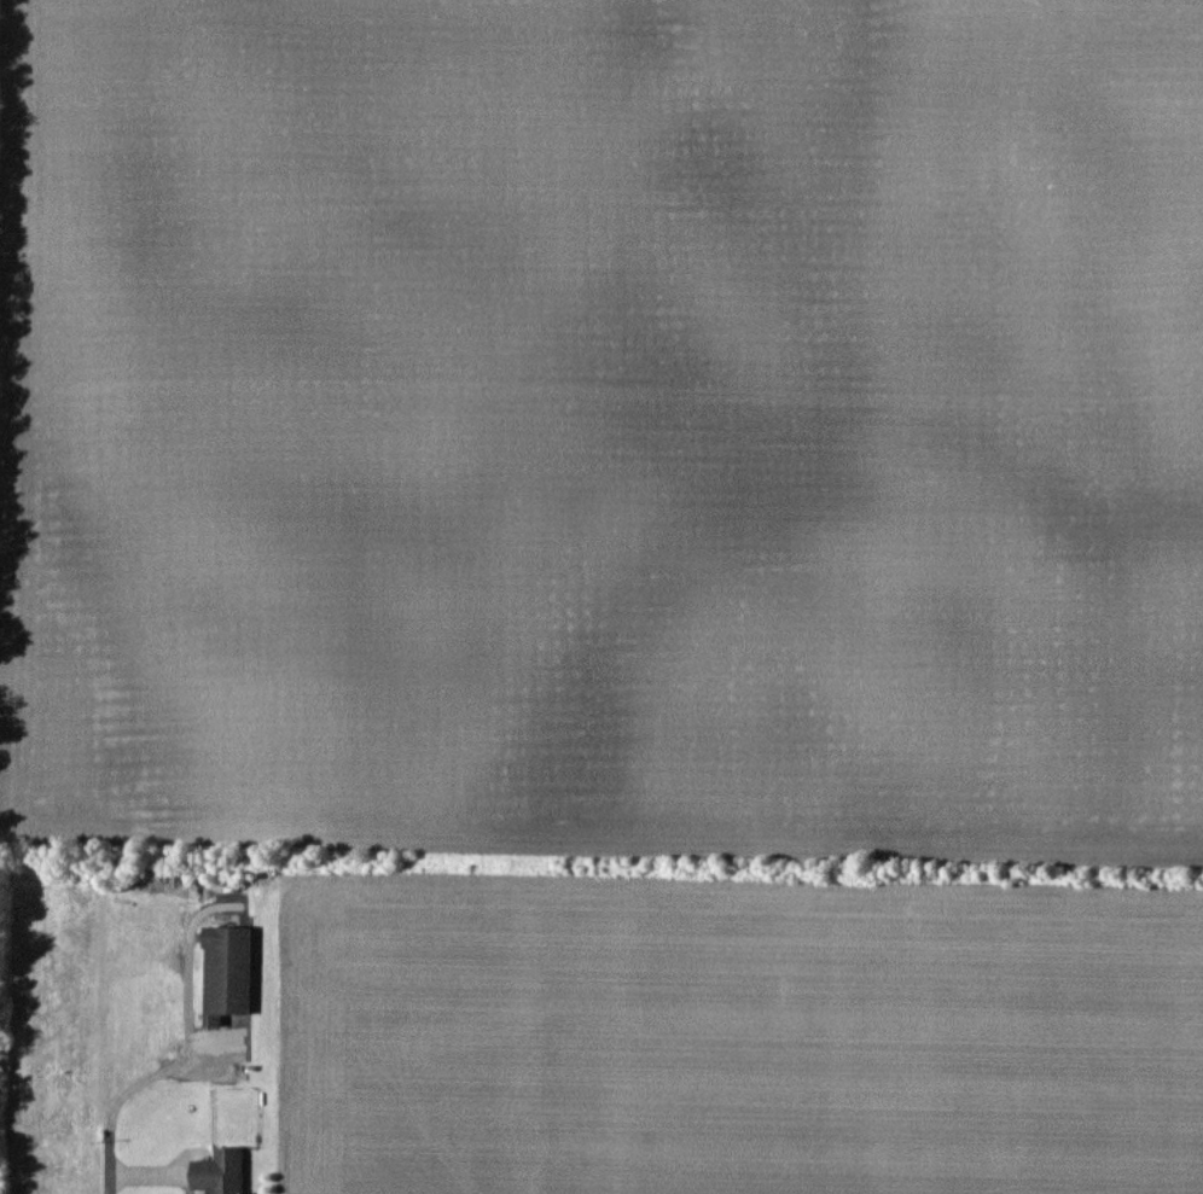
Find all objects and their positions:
crop: (635, 565)
building: (227, 973)
building: (221, 1172)
road: (109, 1186)

